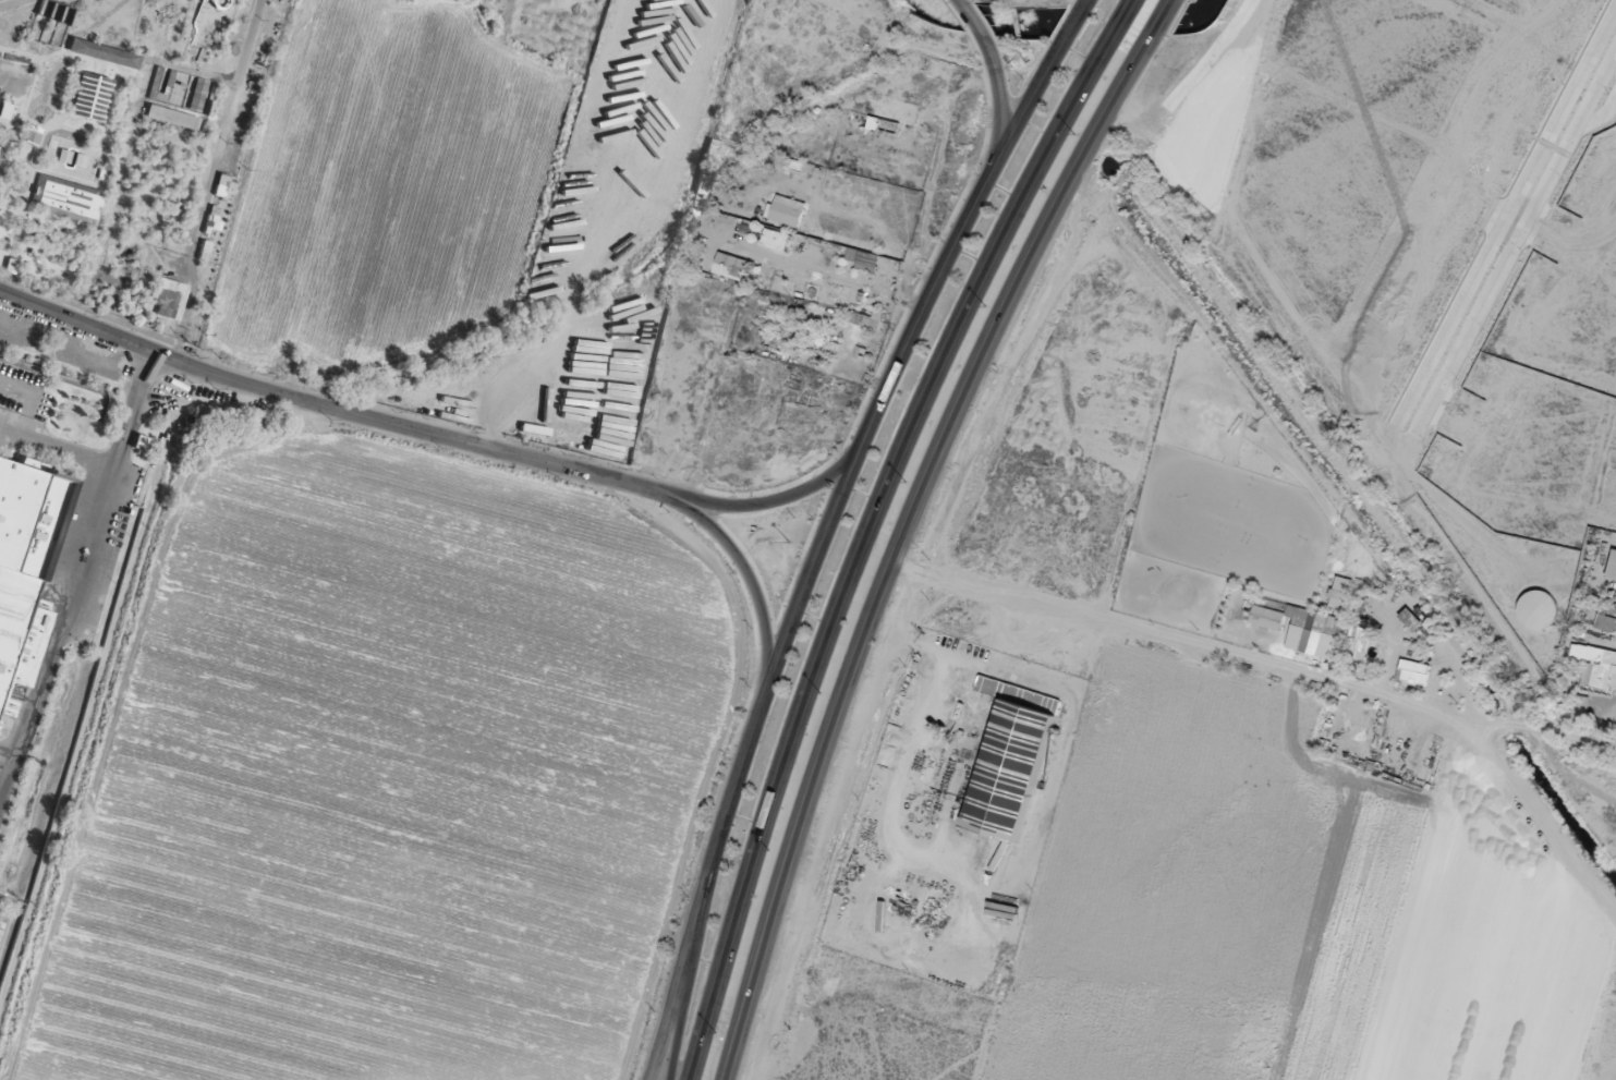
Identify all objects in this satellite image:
road: (1161, 1)
road: (1127, 2)
road: (1081, 3)
power tower: (1210, 218)
road: (1524, 723)

